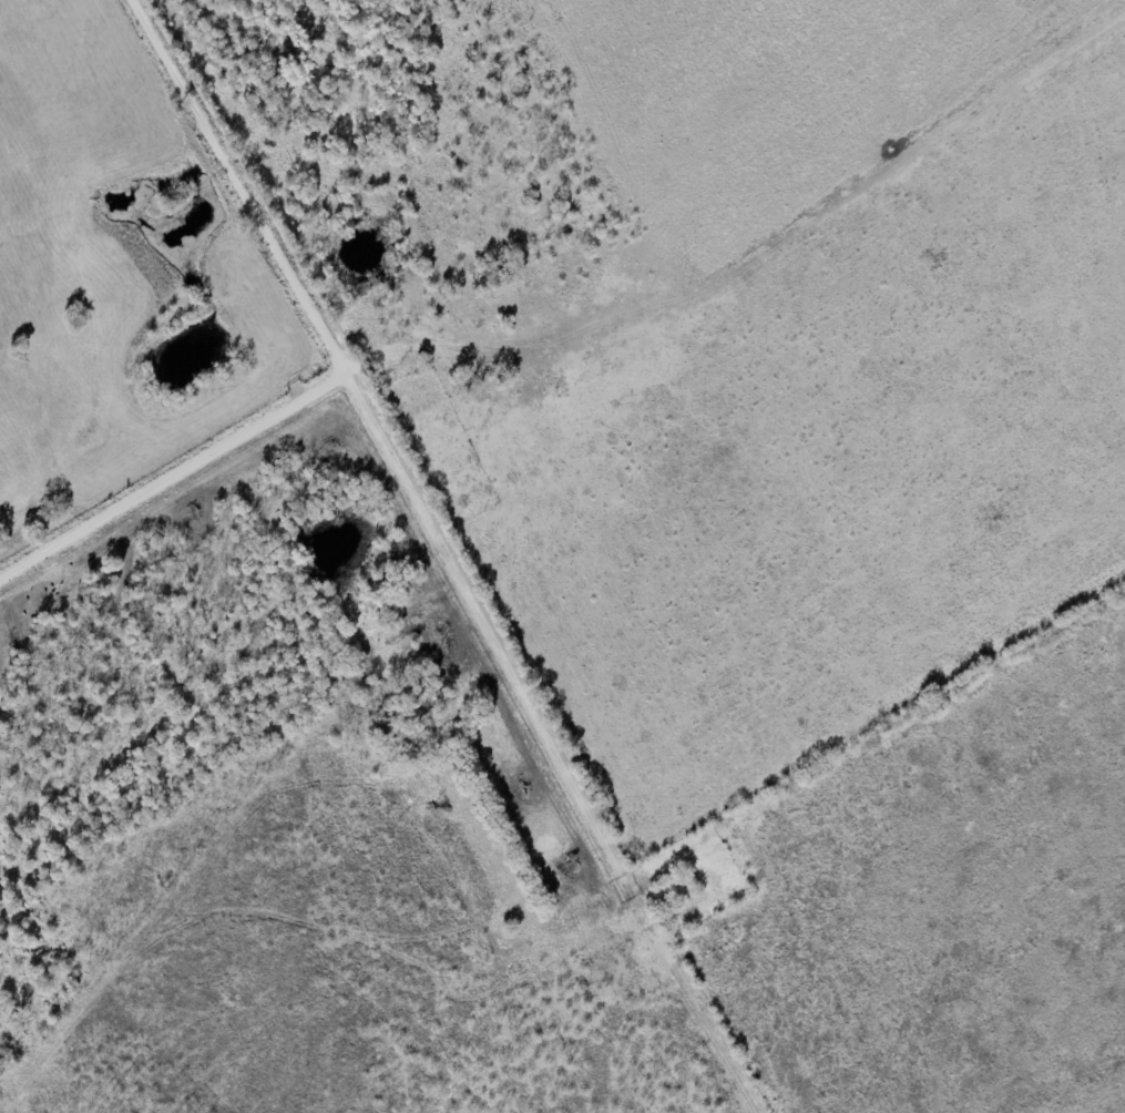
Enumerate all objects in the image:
road: (349, 363)
road: (504, 647)

